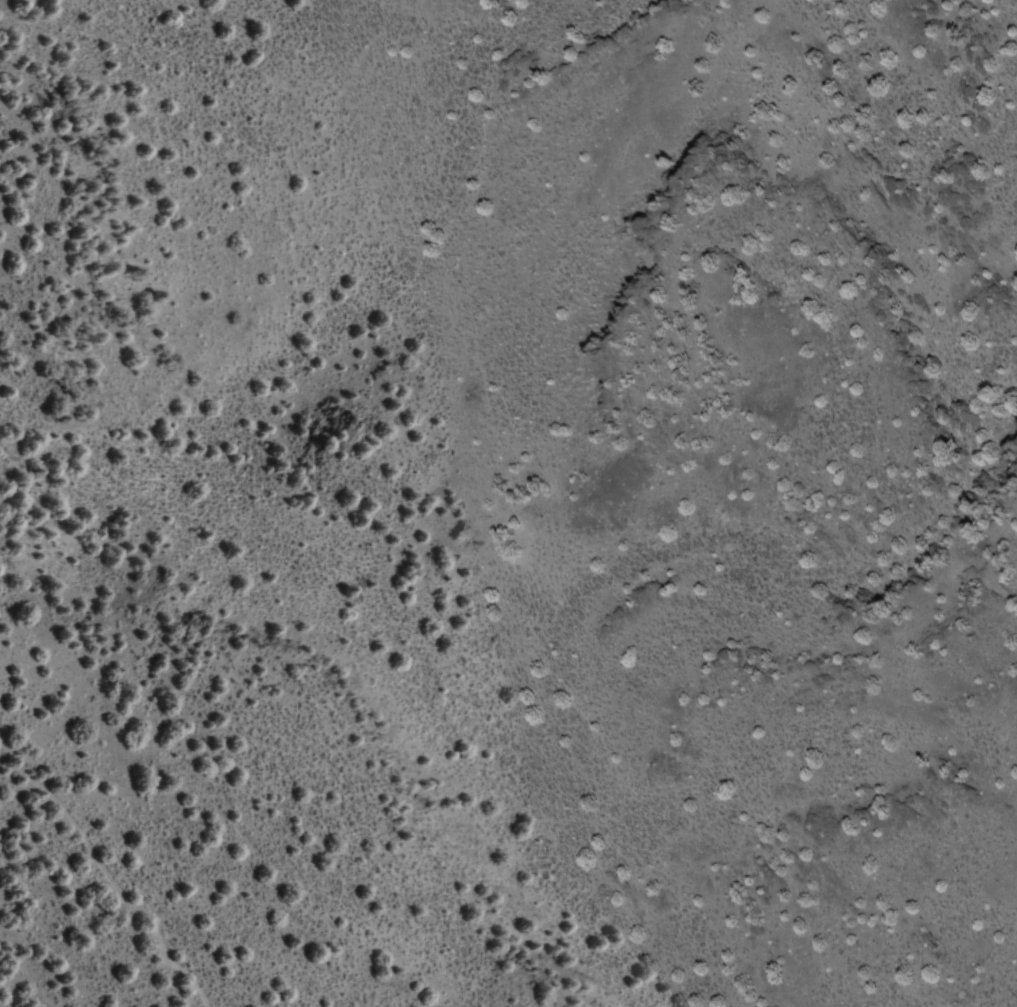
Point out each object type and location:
road: (192, 789)

